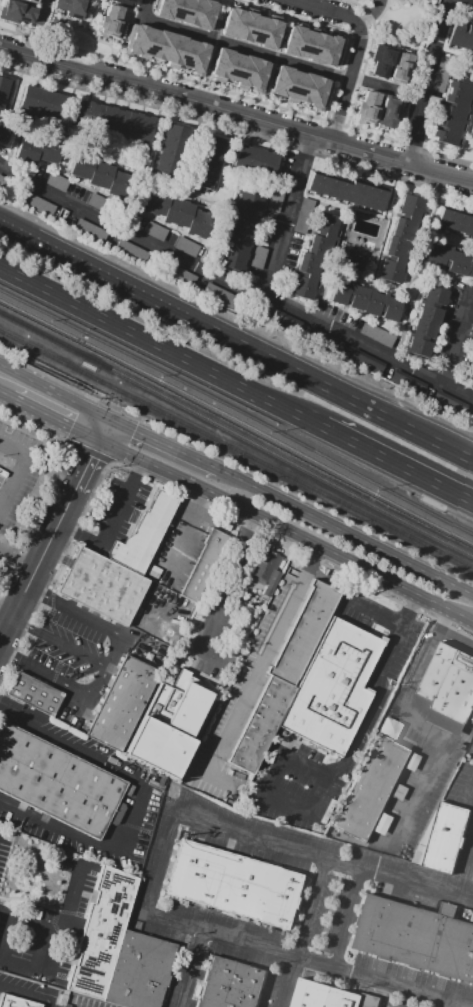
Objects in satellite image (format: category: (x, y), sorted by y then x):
building: (37, 0)
building: (356, 0)
building: (129, 1)
building: (93, 7)
road: (318, 7)
building: (59, 10)
building: (18, 11)
building: (188, 11)
building: (470, 12)
road: (370, 13)
building: (249, 25)
building: (461, 36)
building: (94, 42)
building: (313, 44)
road: (239, 47)
building: (167, 50)
building: (388, 64)
building: (400, 66)
building: (240, 72)
road: (351, 73)
building: (441, 74)
road: (423, 80)
building: (4, 91)
building: (304, 91)
building: (42, 101)
building: (367, 106)
building: (455, 106)
building: (431, 108)
road: (236, 112)
building: (387, 112)
building: (113, 121)
building: (3, 130)
road: (154, 133)
road: (13, 145)
road: (90, 146)
building: (38, 149)
building: (172, 151)
building: (207, 161)
building: (255, 162)
building: (101, 174)
building: (2, 181)
building: (58, 181)
building: (347, 192)
building: (96, 201)
building: (275, 201)
building: (38, 204)
building: (176, 211)
road: (346, 213)
building: (304, 215)
road: (288, 216)
road: (388, 219)
building: (456, 221)
building: (266, 229)
building: (92, 231)
building: (156, 231)
building: (240, 231)
road: (217, 239)
building: (401, 239)
building: (187, 246)
building: (133, 251)
building: (316, 256)
building: (258, 257)
building: (354, 258)
building: (449, 259)
road: (417, 267)
building: (179, 275)
road: (444, 280)
road: (366, 282)
road: (236, 283)
road: (472, 288)
building: (220, 294)
road: (321, 295)
building: (367, 300)
railway: (19, 320)
building: (284, 321)
building: (426, 321)
railway: (71, 325)
building: (378, 335)
railway: (16, 337)
road: (460, 338)
road: (236, 340)
building: (326, 342)
road: (161, 346)
railway: (79, 350)
building: (366, 363)
railway: (72, 366)
building: (471, 378)
building: (409, 382)
road: (52, 388)
road: (5, 394)
road: (90, 395)
building: (450, 403)
traffic signals: (106, 415)
road: (52, 416)
railway: (237, 419)
building: (472, 421)
traffic signals: (96, 436)
road: (164, 443)
railway: (308, 446)
road: (15, 450)
railway: (296, 463)
road: (398, 464)
parking lot: (19, 474)
railway: (292, 475)
road: (238, 478)
road: (15, 491)
parking lot: (122, 505)
road: (53, 525)
road: (282, 527)
road: (113, 530)
building: (144, 533)
road: (189, 534)
road: (363, 540)
road: (17, 556)
building: (204, 564)
building: (267, 570)
building: (103, 586)
road: (227, 595)
road: (6, 604)
road: (376, 616)
road: (471, 620)
road: (58, 640)
parking lot: (67, 645)
road: (109, 659)
road: (263, 669)
building: (284, 677)
building: (333, 687)
building: (446, 689)
building: (36, 693)
road: (407, 701)
building: (123, 703)
road: (8, 709)
road: (370, 724)
building: (169, 726)
building: (391, 728)
road: (68, 741)
road: (294, 759)
building: (413, 761)
road: (131, 778)
building: (60, 783)
building: (371, 787)
road: (419, 789)
building: (384, 823)
road: (85, 839)
building: (447, 839)
road: (162, 879)
building: (236, 885)
road: (62, 931)
building: (101, 932)
road: (304, 932)
building: (416, 937)
road: (14, 940)
road: (193, 968)
building: (141, 971)
building: (231, 984)
road: (28, 993)
building: (323, 996)
building: (16, 1001)
building: (369, 1001)
road: (452, 1004)

